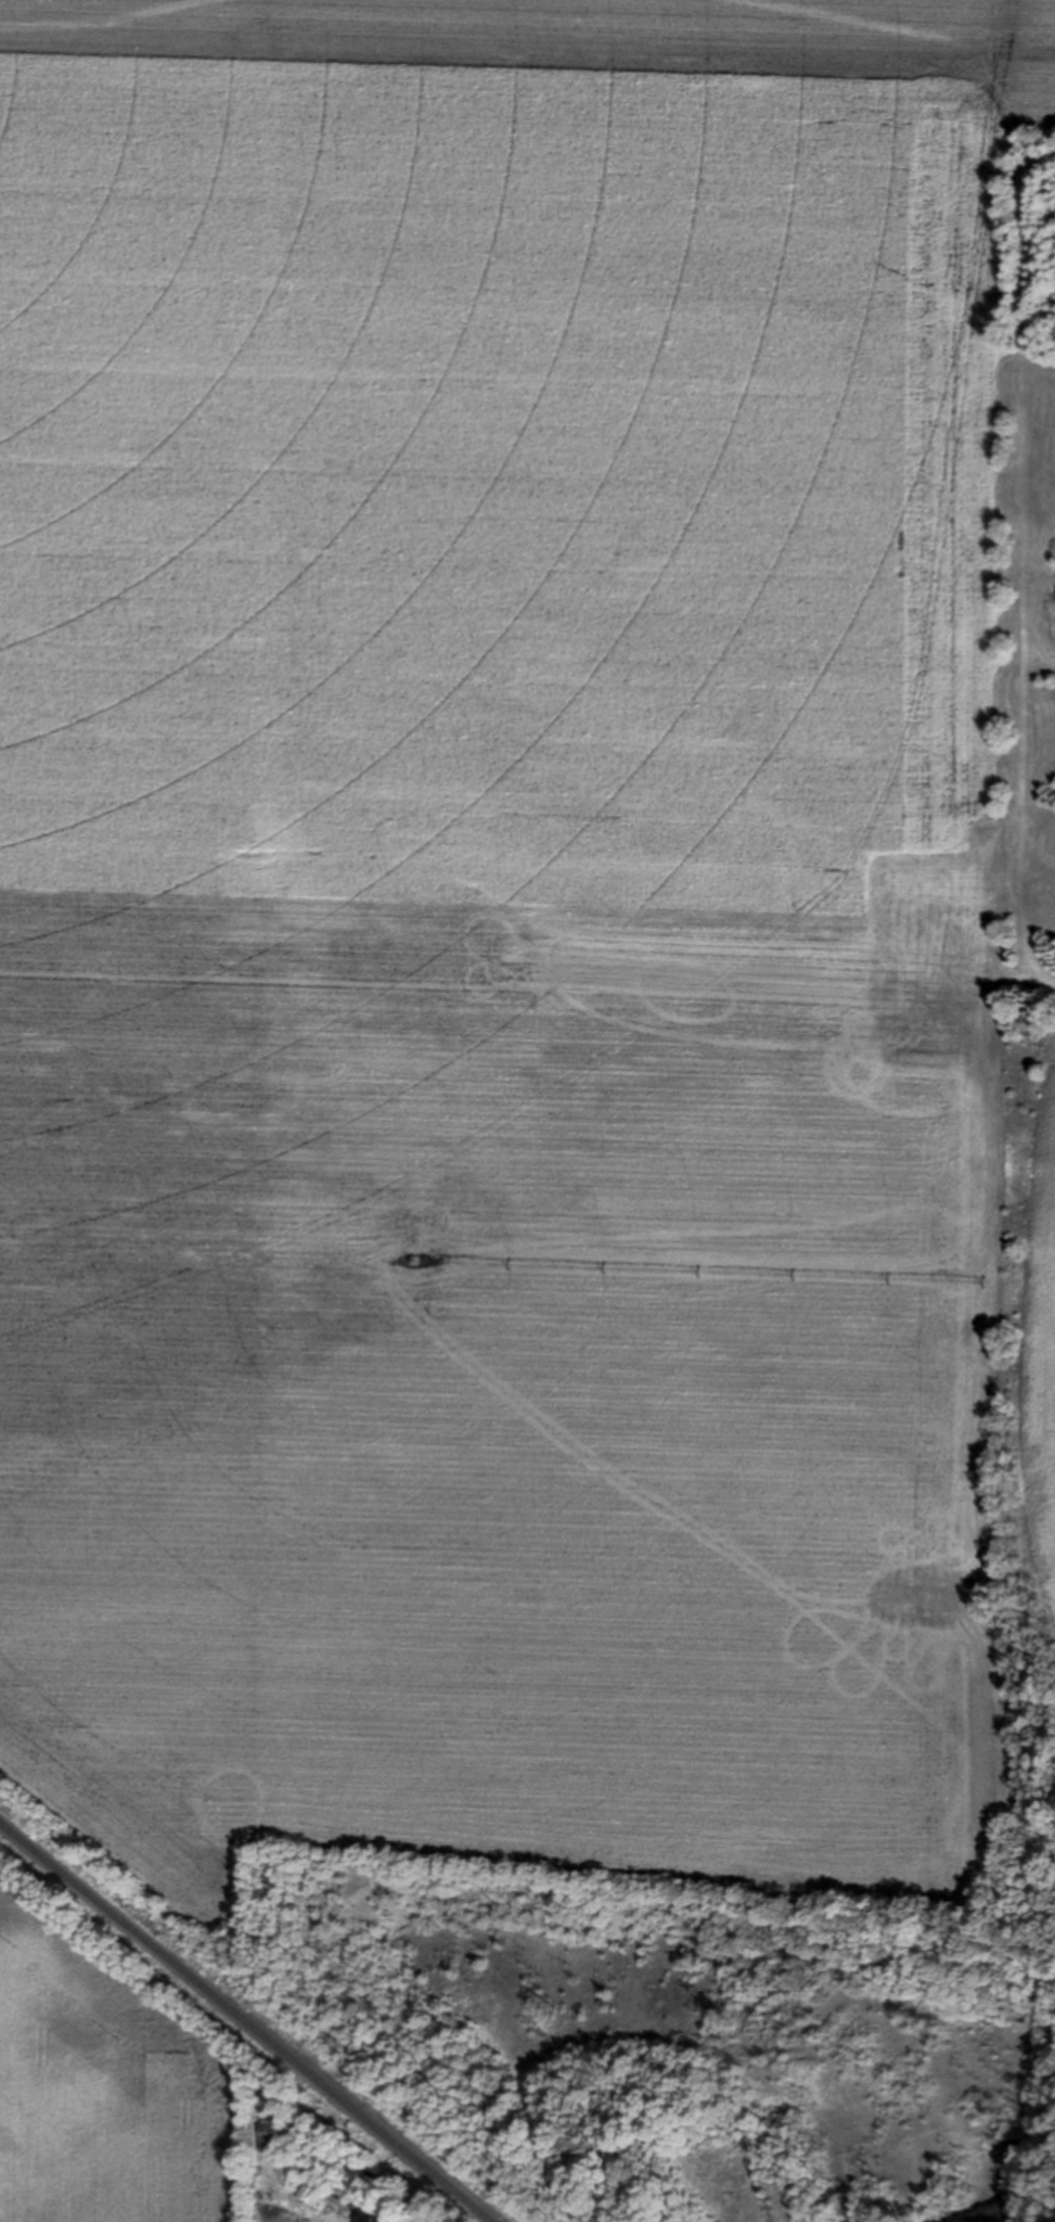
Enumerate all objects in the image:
railway: (244, 2022)
building: (272, 2135)
road: (342, 2183)

